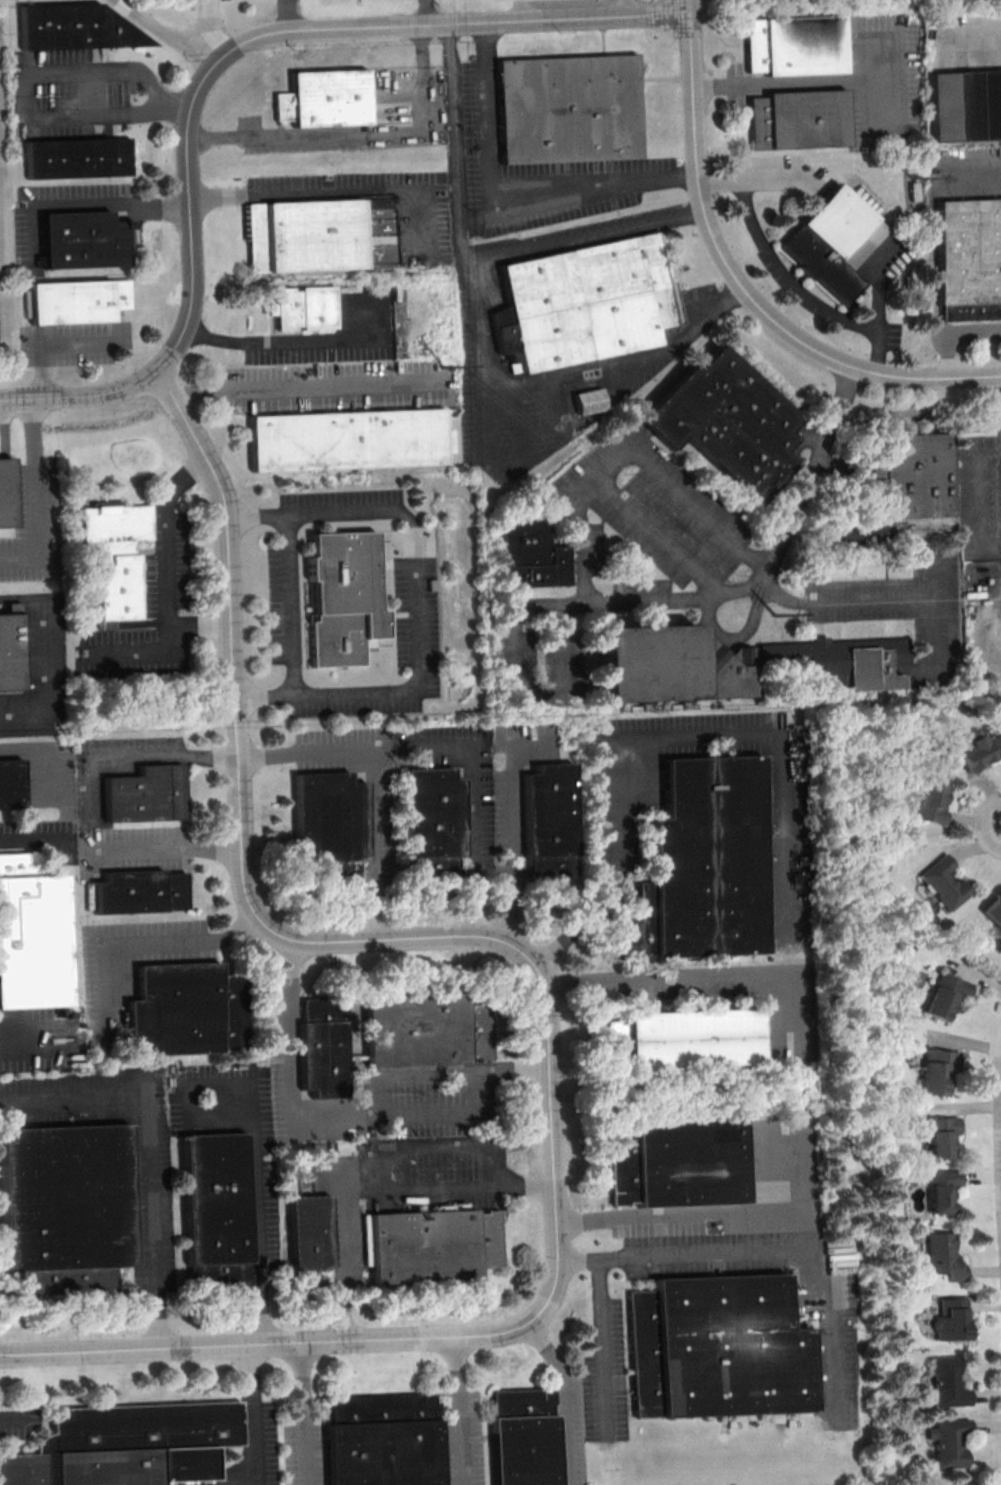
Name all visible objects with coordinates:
parking lot: (513, 0)
road: (625, 7)
road: (523, 9)
road: (426, 12)
road: (209, 15)
road: (285, 15)
building: (77, 27)
road: (163, 31)
road: (968, 42)
road: (214, 45)
building: (794, 46)
road: (213, 65)
road: (812, 82)
road: (27, 97)
building: (326, 100)
road: (425, 106)
building: (965, 106)
building: (568, 110)
road: (879, 111)
building: (798, 120)
road: (275, 136)
building: (78, 158)
road: (766, 181)
road: (328, 192)
road: (507, 201)
road: (114, 205)
building: (305, 236)
road: (583, 238)
building: (87, 240)
building: (832, 243)
building: (969, 261)
road: (770, 265)
road: (739, 281)
road: (872, 299)
building: (78, 301)
building: (583, 304)
building: (303, 308)
road: (950, 332)
road: (482, 335)
road: (294, 341)
road: (52, 345)
power tower: (442, 351)
road: (299, 387)
road: (560, 406)
building: (722, 423)
road: (518, 424)
road: (481, 425)
building: (348, 441)
building: (912, 482)
road: (31, 493)
building: (5, 494)
road: (654, 540)
building: (532, 556)
building: (117, 559)
road: (164, 568)
building: (341, 599)
road: (413, 600)
road: (843, 601)
road: (612, 604)
road: (289, 606)
road: (934, 613)
power tower: (729, 618)
road: (736, 638)
building: (9, 654)
road: (139, 655)
building: (662, 662)
building: (805, 662)
road: (49, 663)
building: (870, 668)
road: (516, 681)
road: (654, 745)
building: (976, 750)
road: (40, 753)
road: (132, 759)
road: (368, 782)
building: (10, 785)
road: (470, 787)
building: (144, 795)
building: (930, 802)
building: (550, 823)
building: (435, 824)
building: (329, 829)
road: (515, 829)
road: (32, 840)
road: (169, 850)
building: (699, 867)
building: (943, 882)
building: (138, 892)
building: (993, 911)
building: (33, 941)
road: (131, 947)
road: (685, 977)
road: (541, 982)
building: (944, 994)
building: (185, 1011)
building: (428, 1031)
building: (685, 1040)
road: (32, 1046)
building: (326, 1050)
building: (935, 1071)
road: (354, 1111)
building: (939, 1136)
road: (252, 1137)
road: (146, 1150)
building: (679, 1161)
road: (371, 1184)
building: (939, 1189)
building: (65, 1209)
building: (217, 1212)
road: (672, 1214)
building: (311, 1241)
building: (433, 1246)
road: (733, 1251)
building: (941, 1255)
building: (949, 1318)
road: (830, 1319)
road: (601, 1345)
building: (719, 1350)
building: (946, 1382)
road: (564, 1398)
road: (456, 1411)
road: (302, 1413)
road: (253, 1414)
road: (19, 1416)
building: (523, 1437)
building: (383, 1440)
building: (948, 1441)
building: (129, 1446)
building: (962, 1484)

